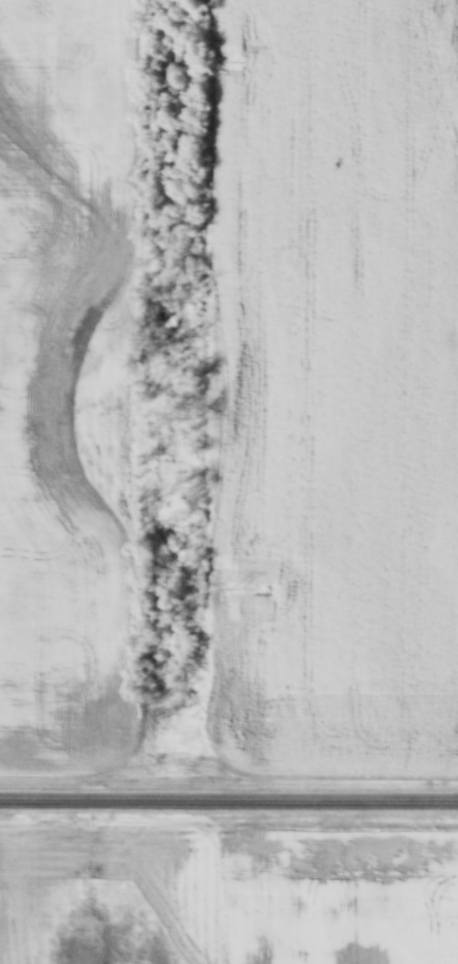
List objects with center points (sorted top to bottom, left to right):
power tower: (240, 61)
power tower: (236, 588)
road: (229, 805)

